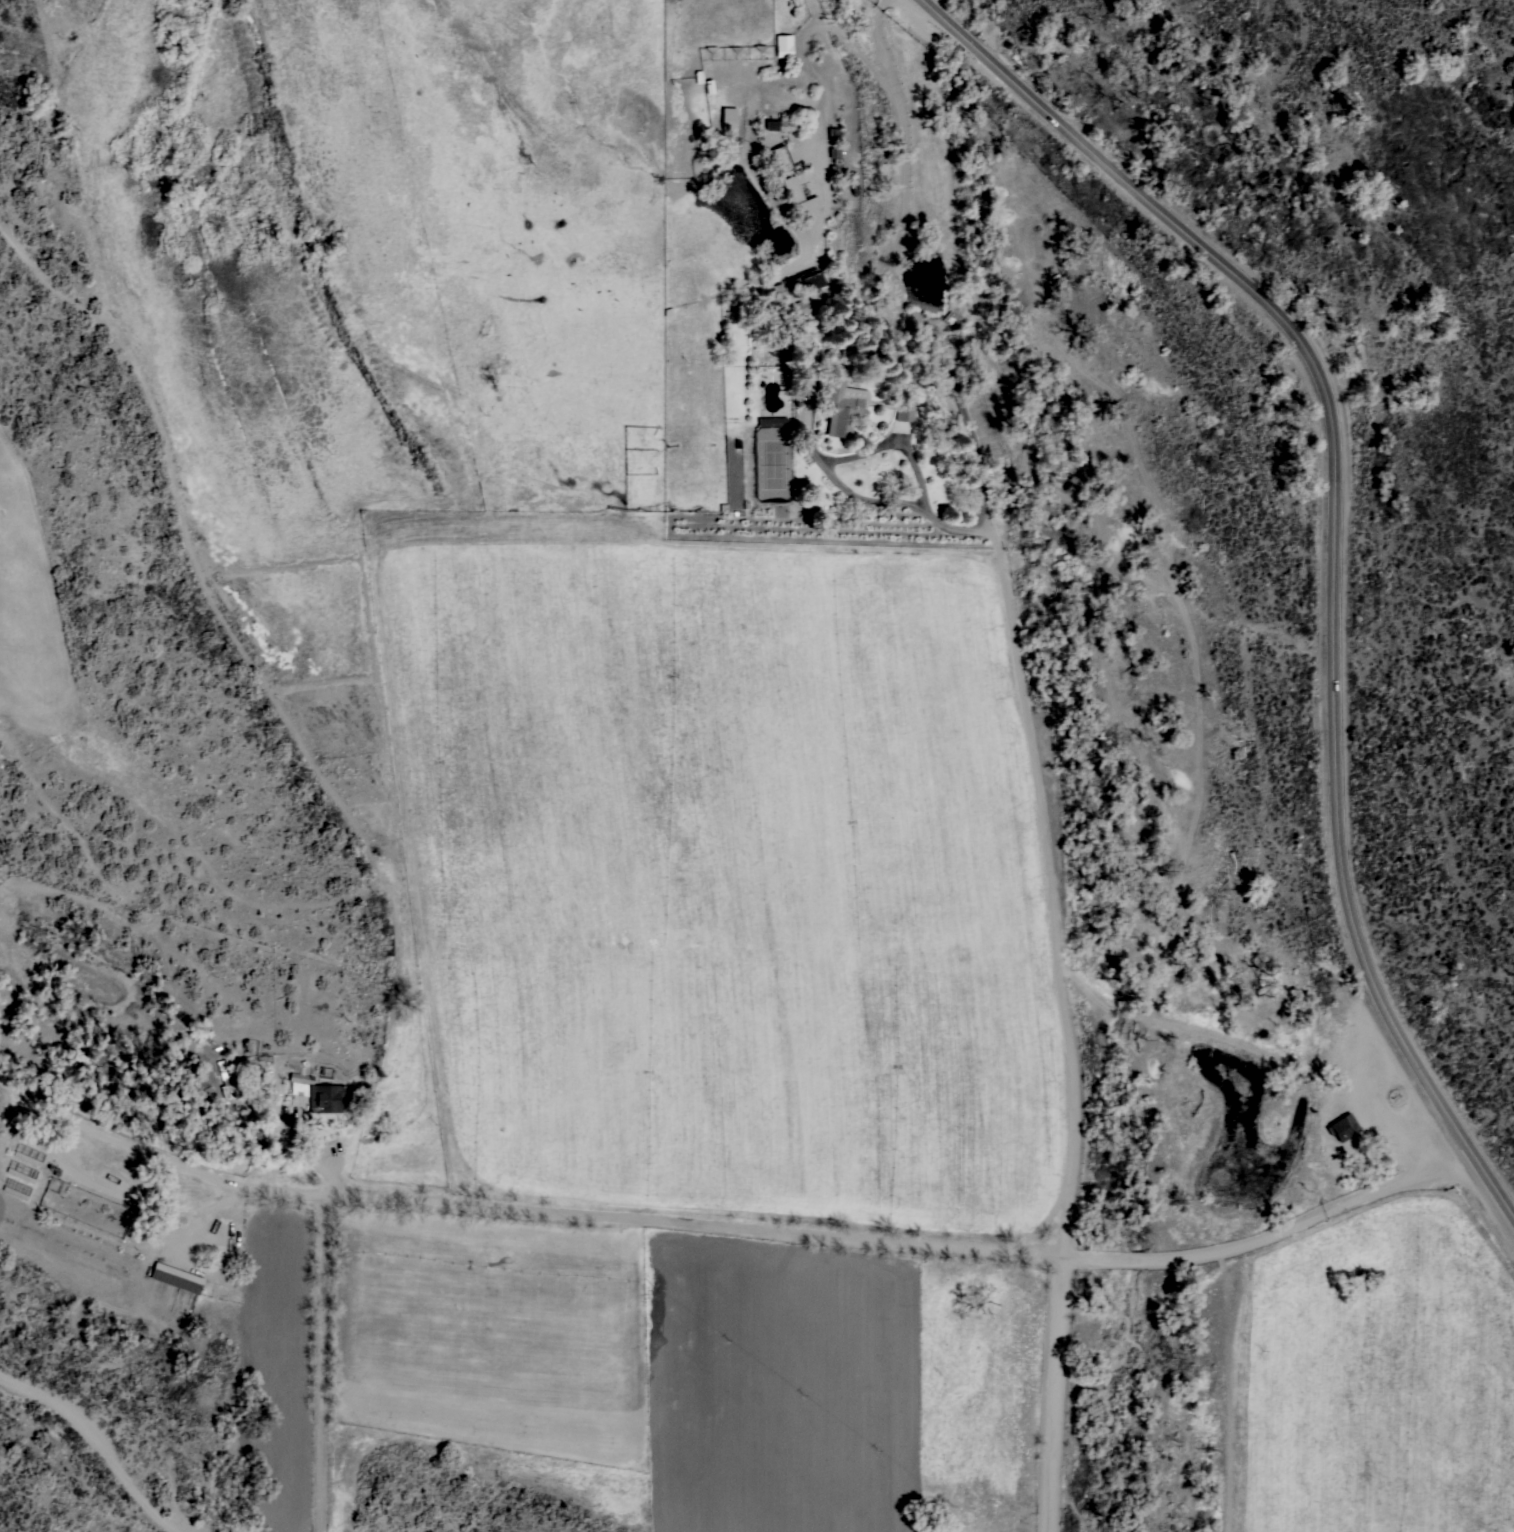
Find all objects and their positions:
building: (783, 45)
building: (728, 118)
building: (779, 125)
building: (831, 133)
building: (778, 159)
building: (832, 178)
building: (798, 198)
building: (803, 282)
building: (776, 290)
building: (792, 309)
building: (841, 404)
building: (901, 413)
building: (772, 421)
road: (1333, 543)
road: (1007, 618)
crop: (47, 625)
building: (387, 938)
crop: (716, 1035)
building: (224, 1079)
building: (260, 1082)
building: (299, 1083)
building: (326, 1097)
road: (1372, 1108)
building: (1342, 1126)
road: (1422, 1149)
building: (26, 1157)
building: (20, 1174)
building: (14, 1192)
road: (735, 1226)
building: (177, 1277)
crop: (1376, 1379)
road: (1044, 1394)

